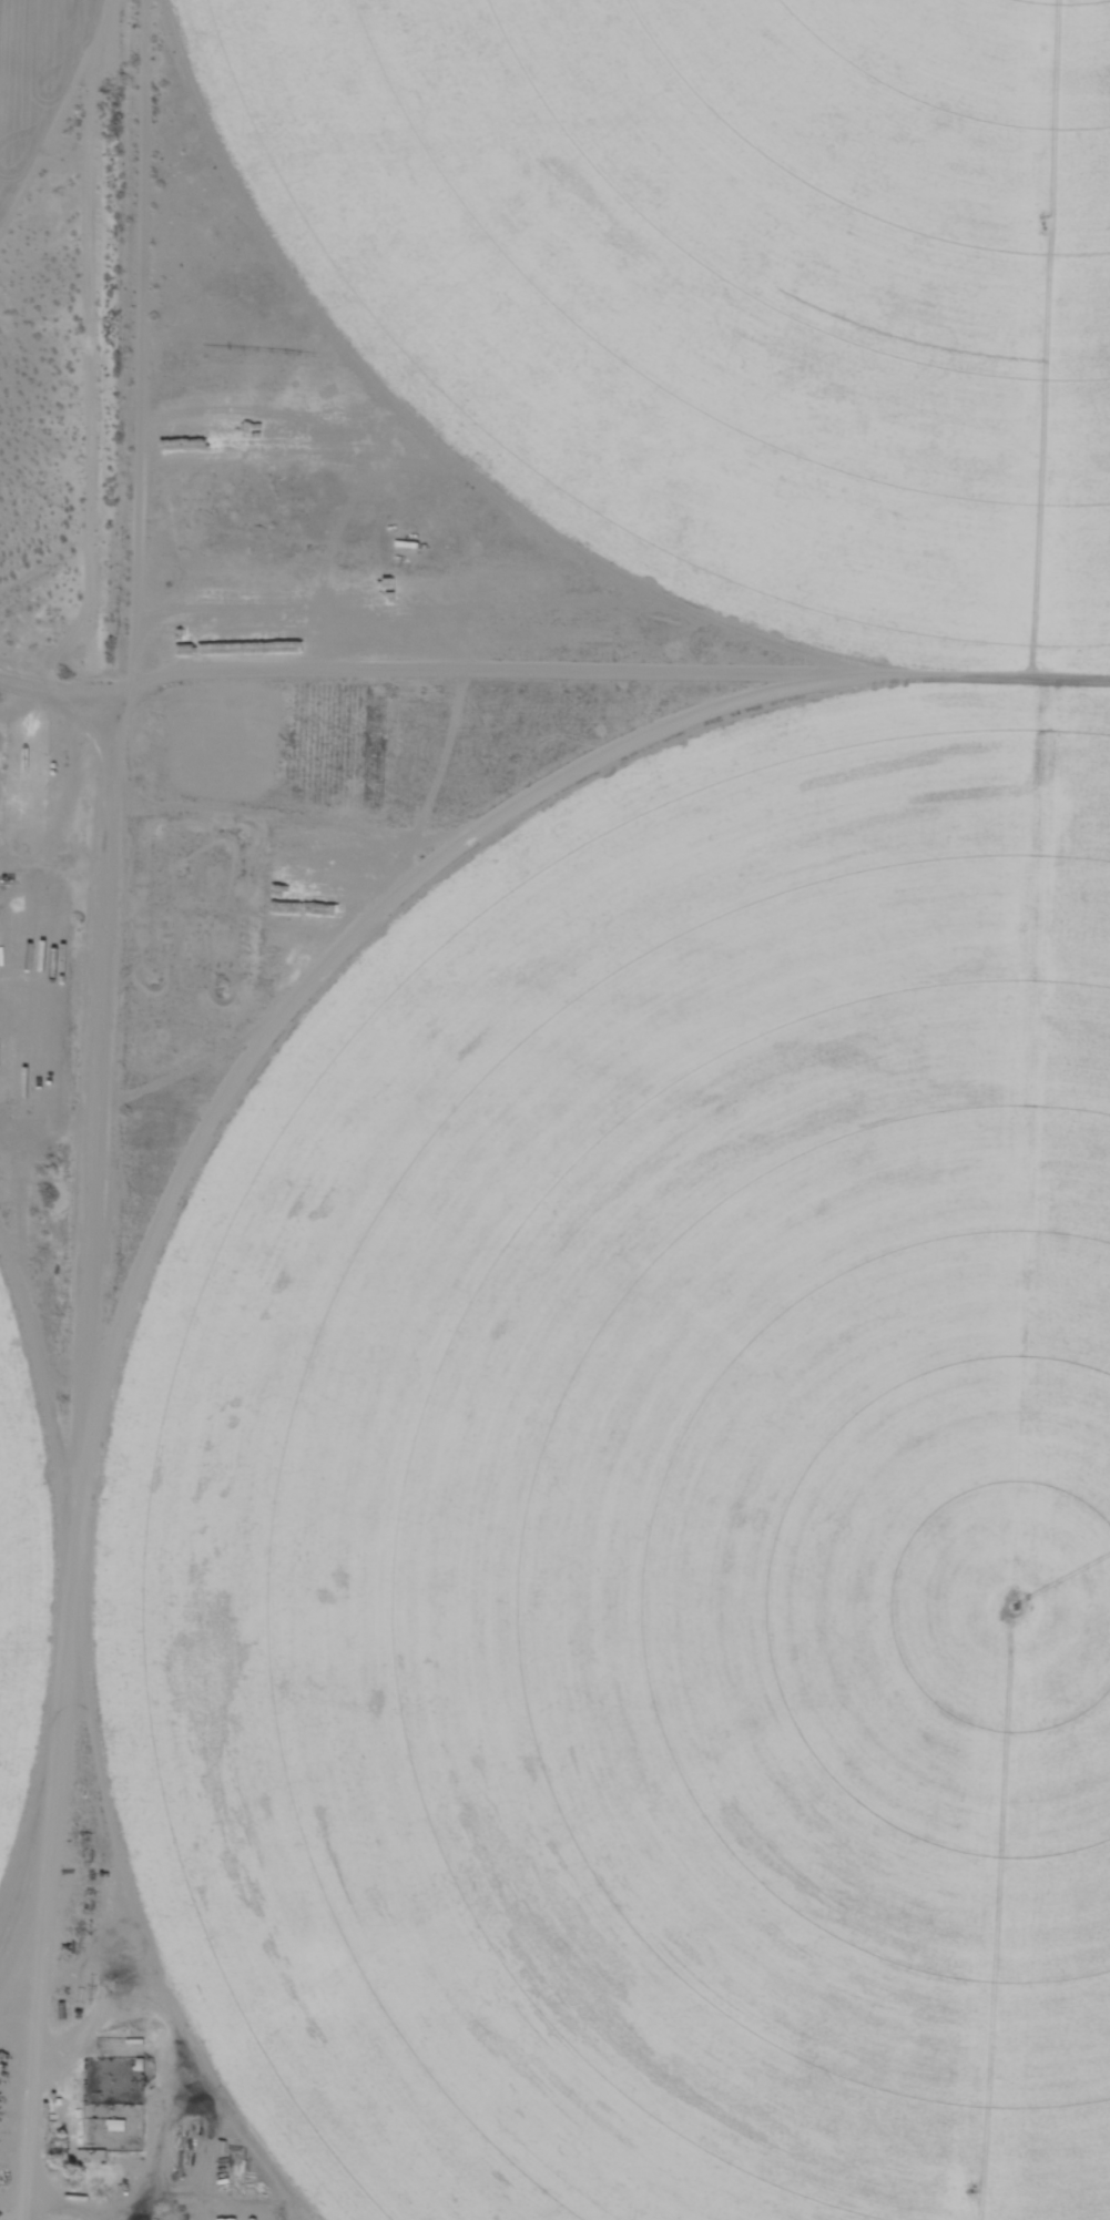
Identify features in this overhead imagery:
crop: (13, 41)
crop: (750, 258)
road: (116, 339)
road: (55, 672)
crop: (655, 1509)
building: (90, 2152)
building: (226, 2218)

